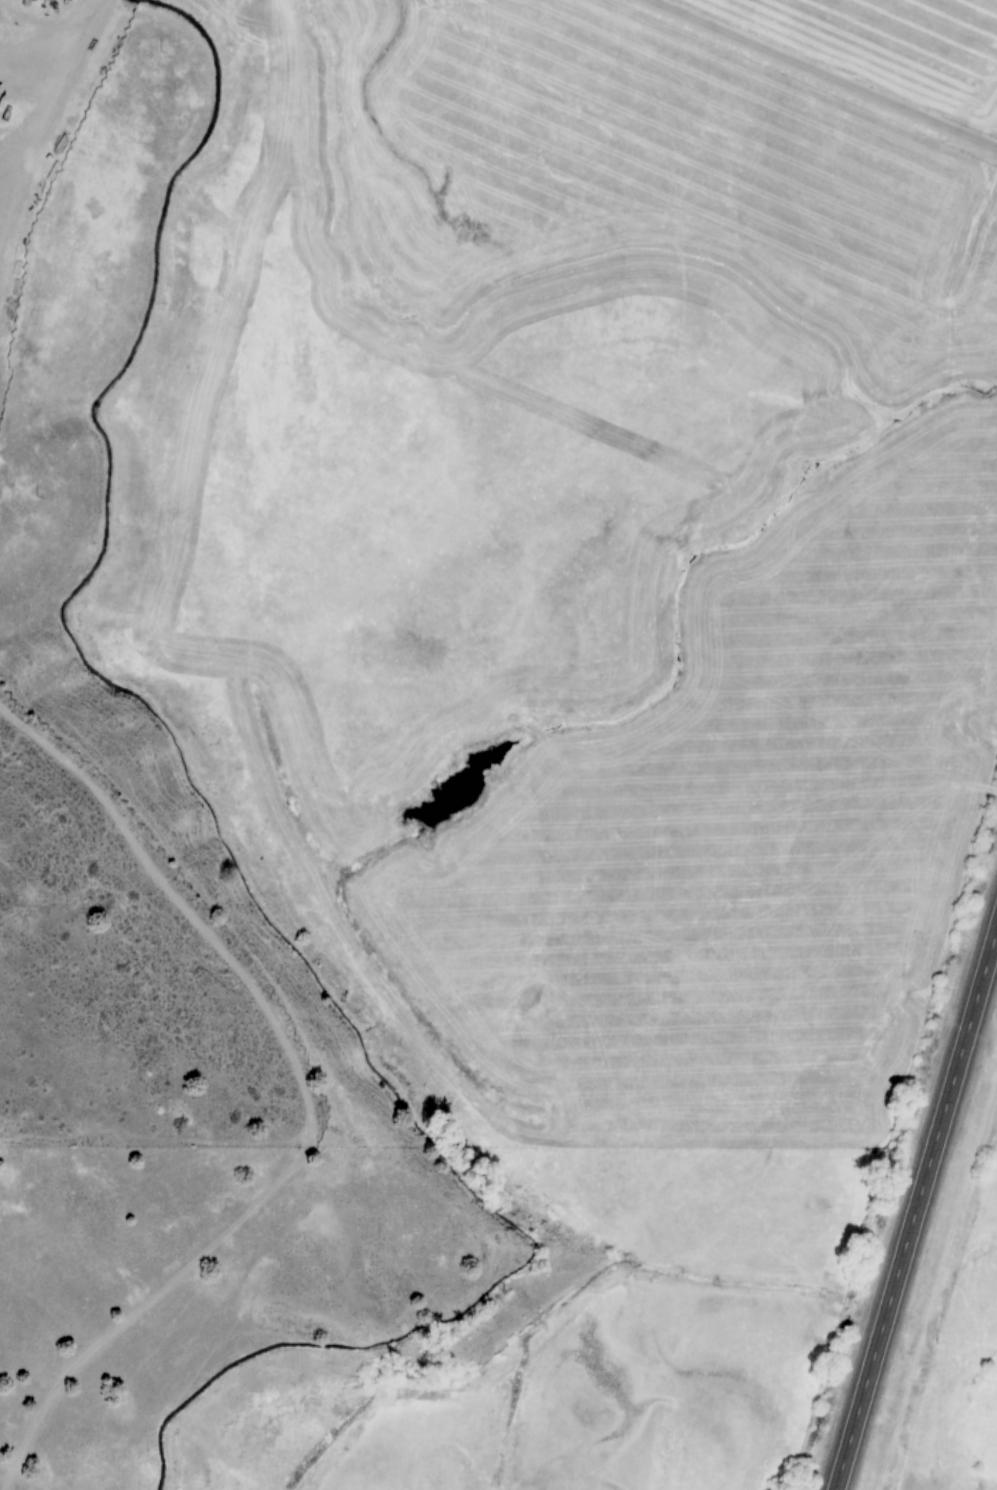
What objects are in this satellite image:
road: (97, 16)
road: (44, 27)
road: (830, 72)
road: (37, 142)
road: (84, 784)
road: (916, 1208)

